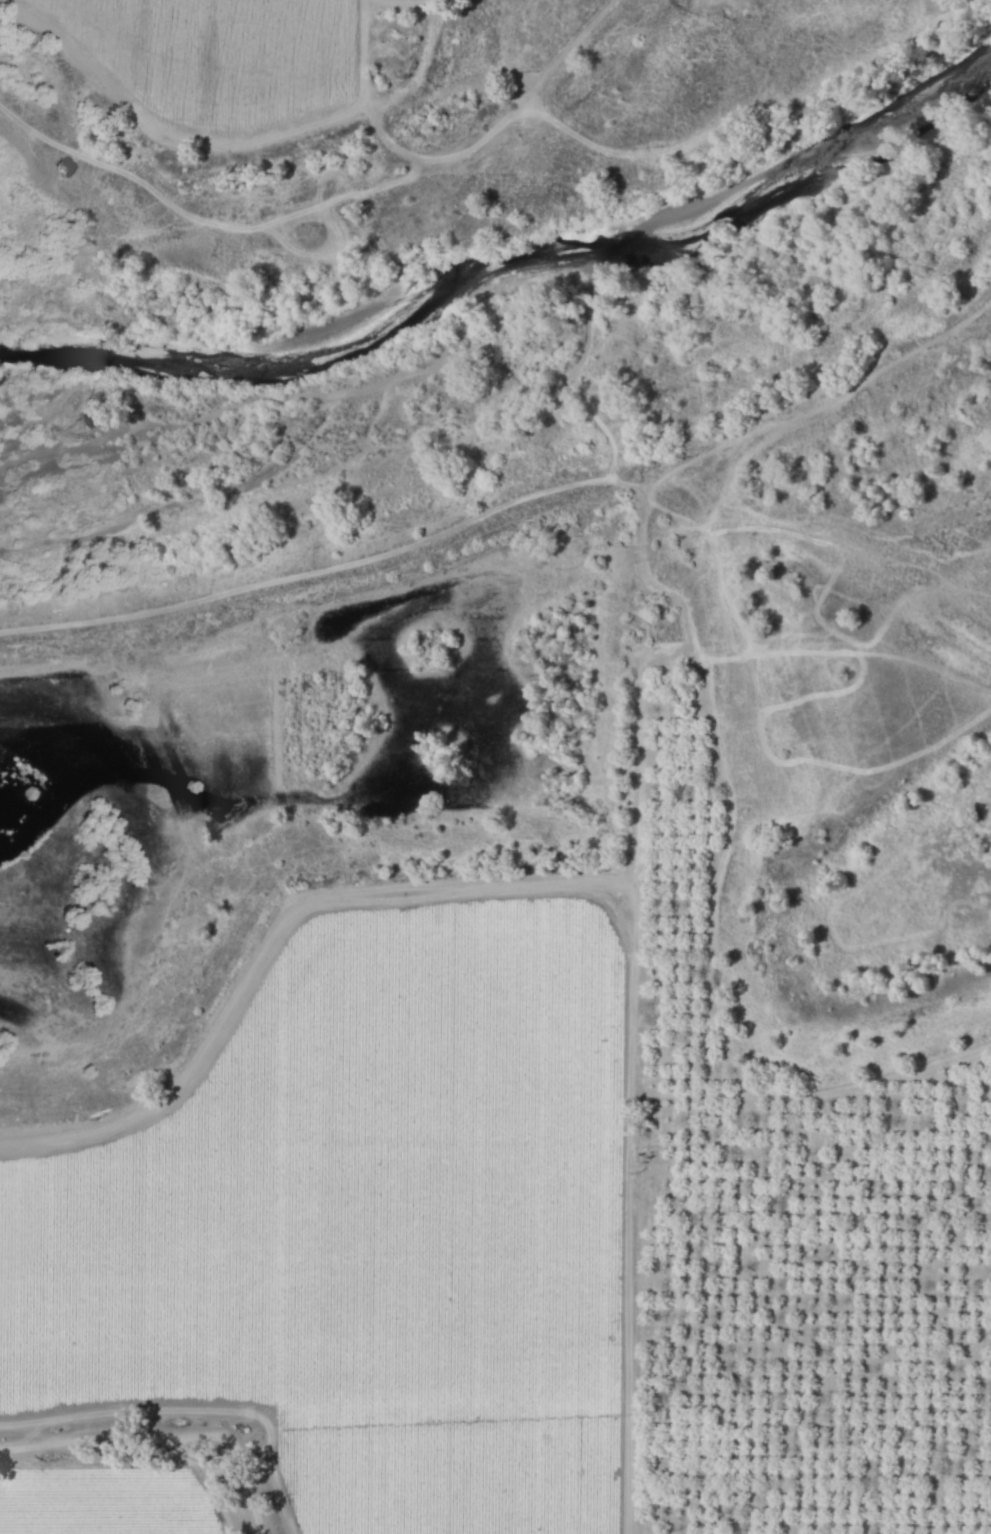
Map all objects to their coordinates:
road: (360, 8)
river: (506, 268)

